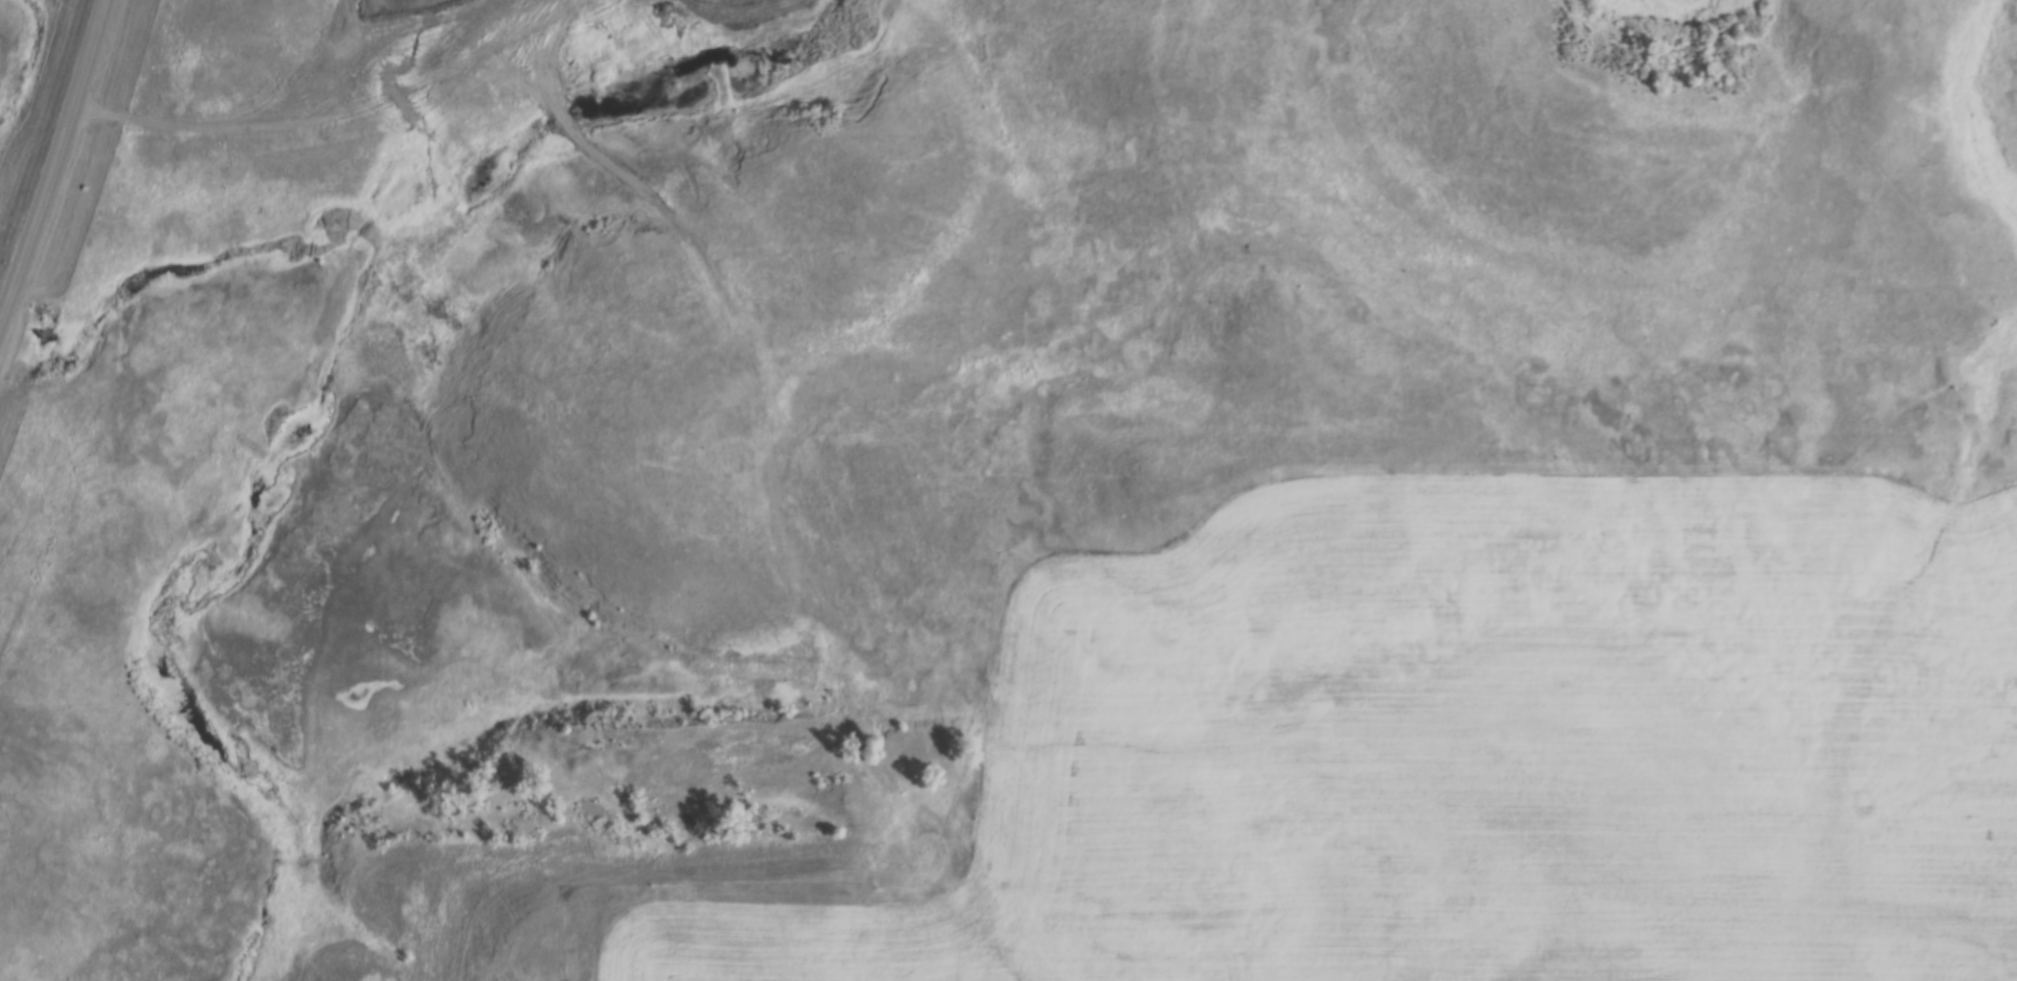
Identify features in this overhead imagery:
road: (55, 163)

